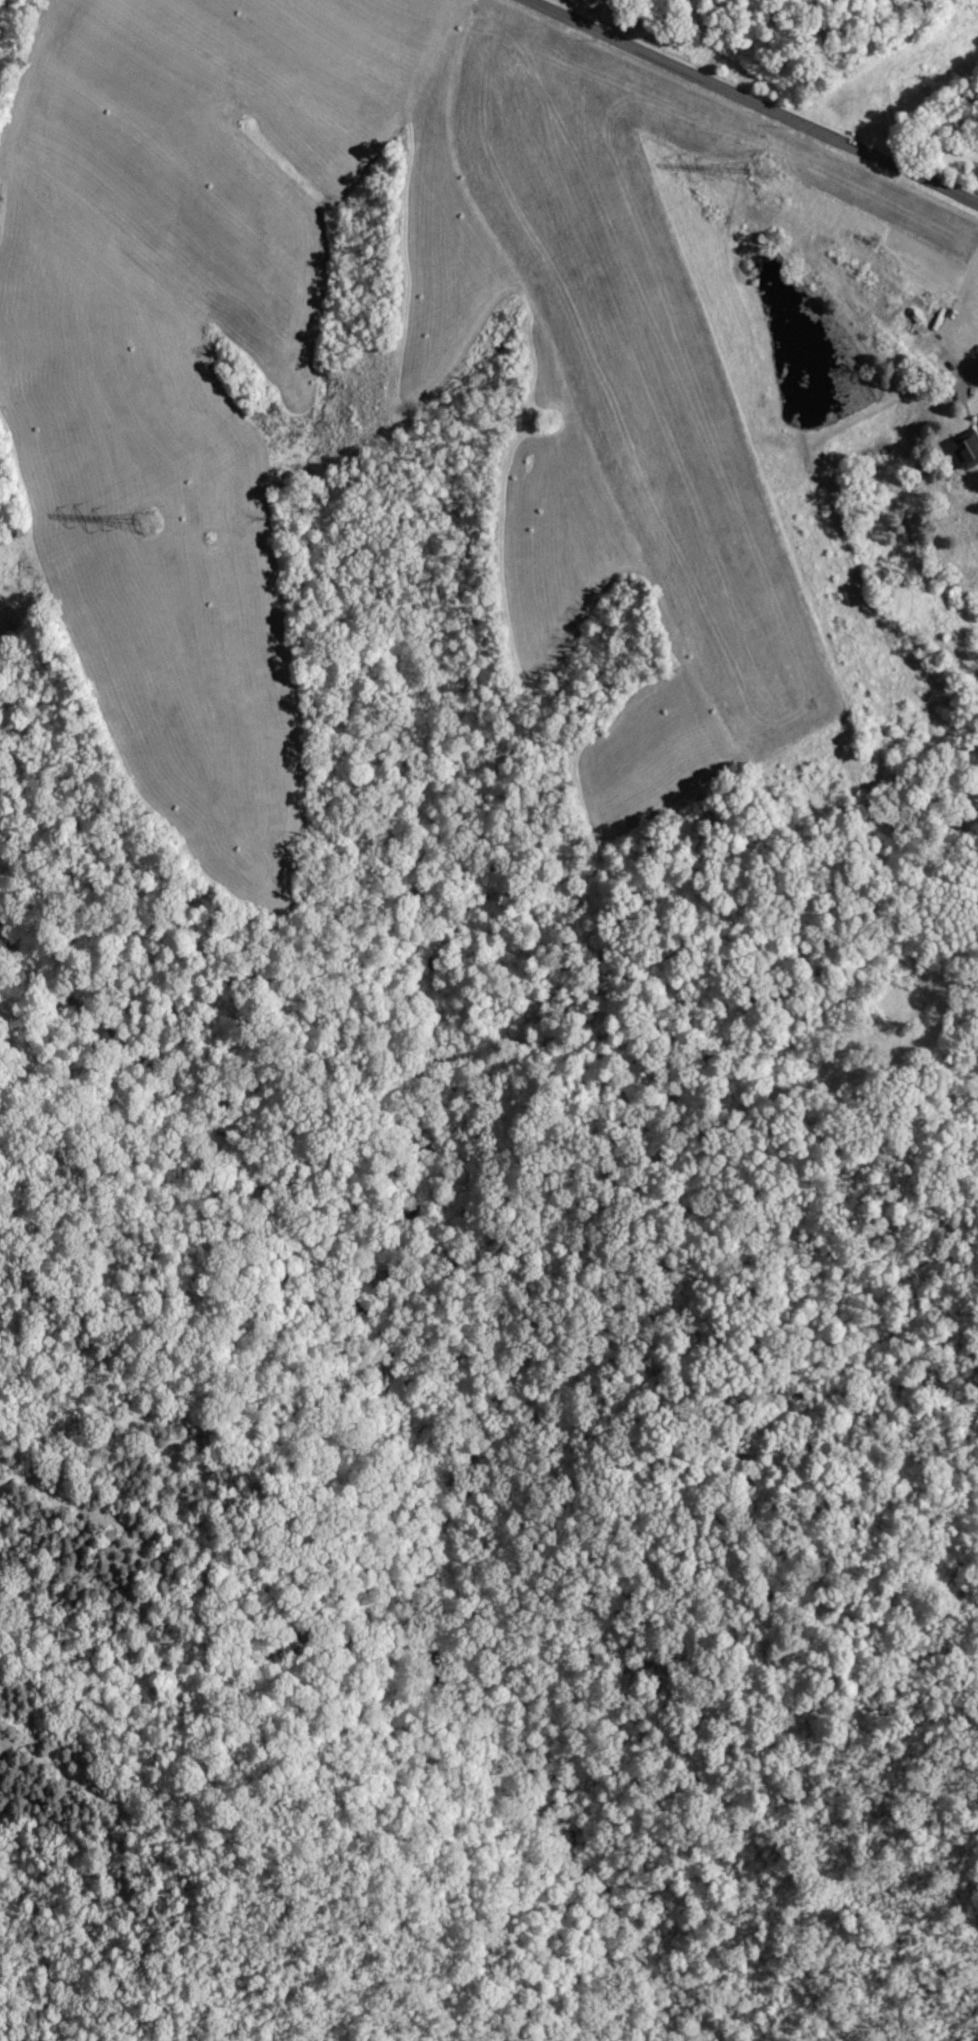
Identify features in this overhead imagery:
road: (772, 104)
power tower: (757, 169)
road: (969, 385)
building: (969, 449)
power tower: (144, 520)

